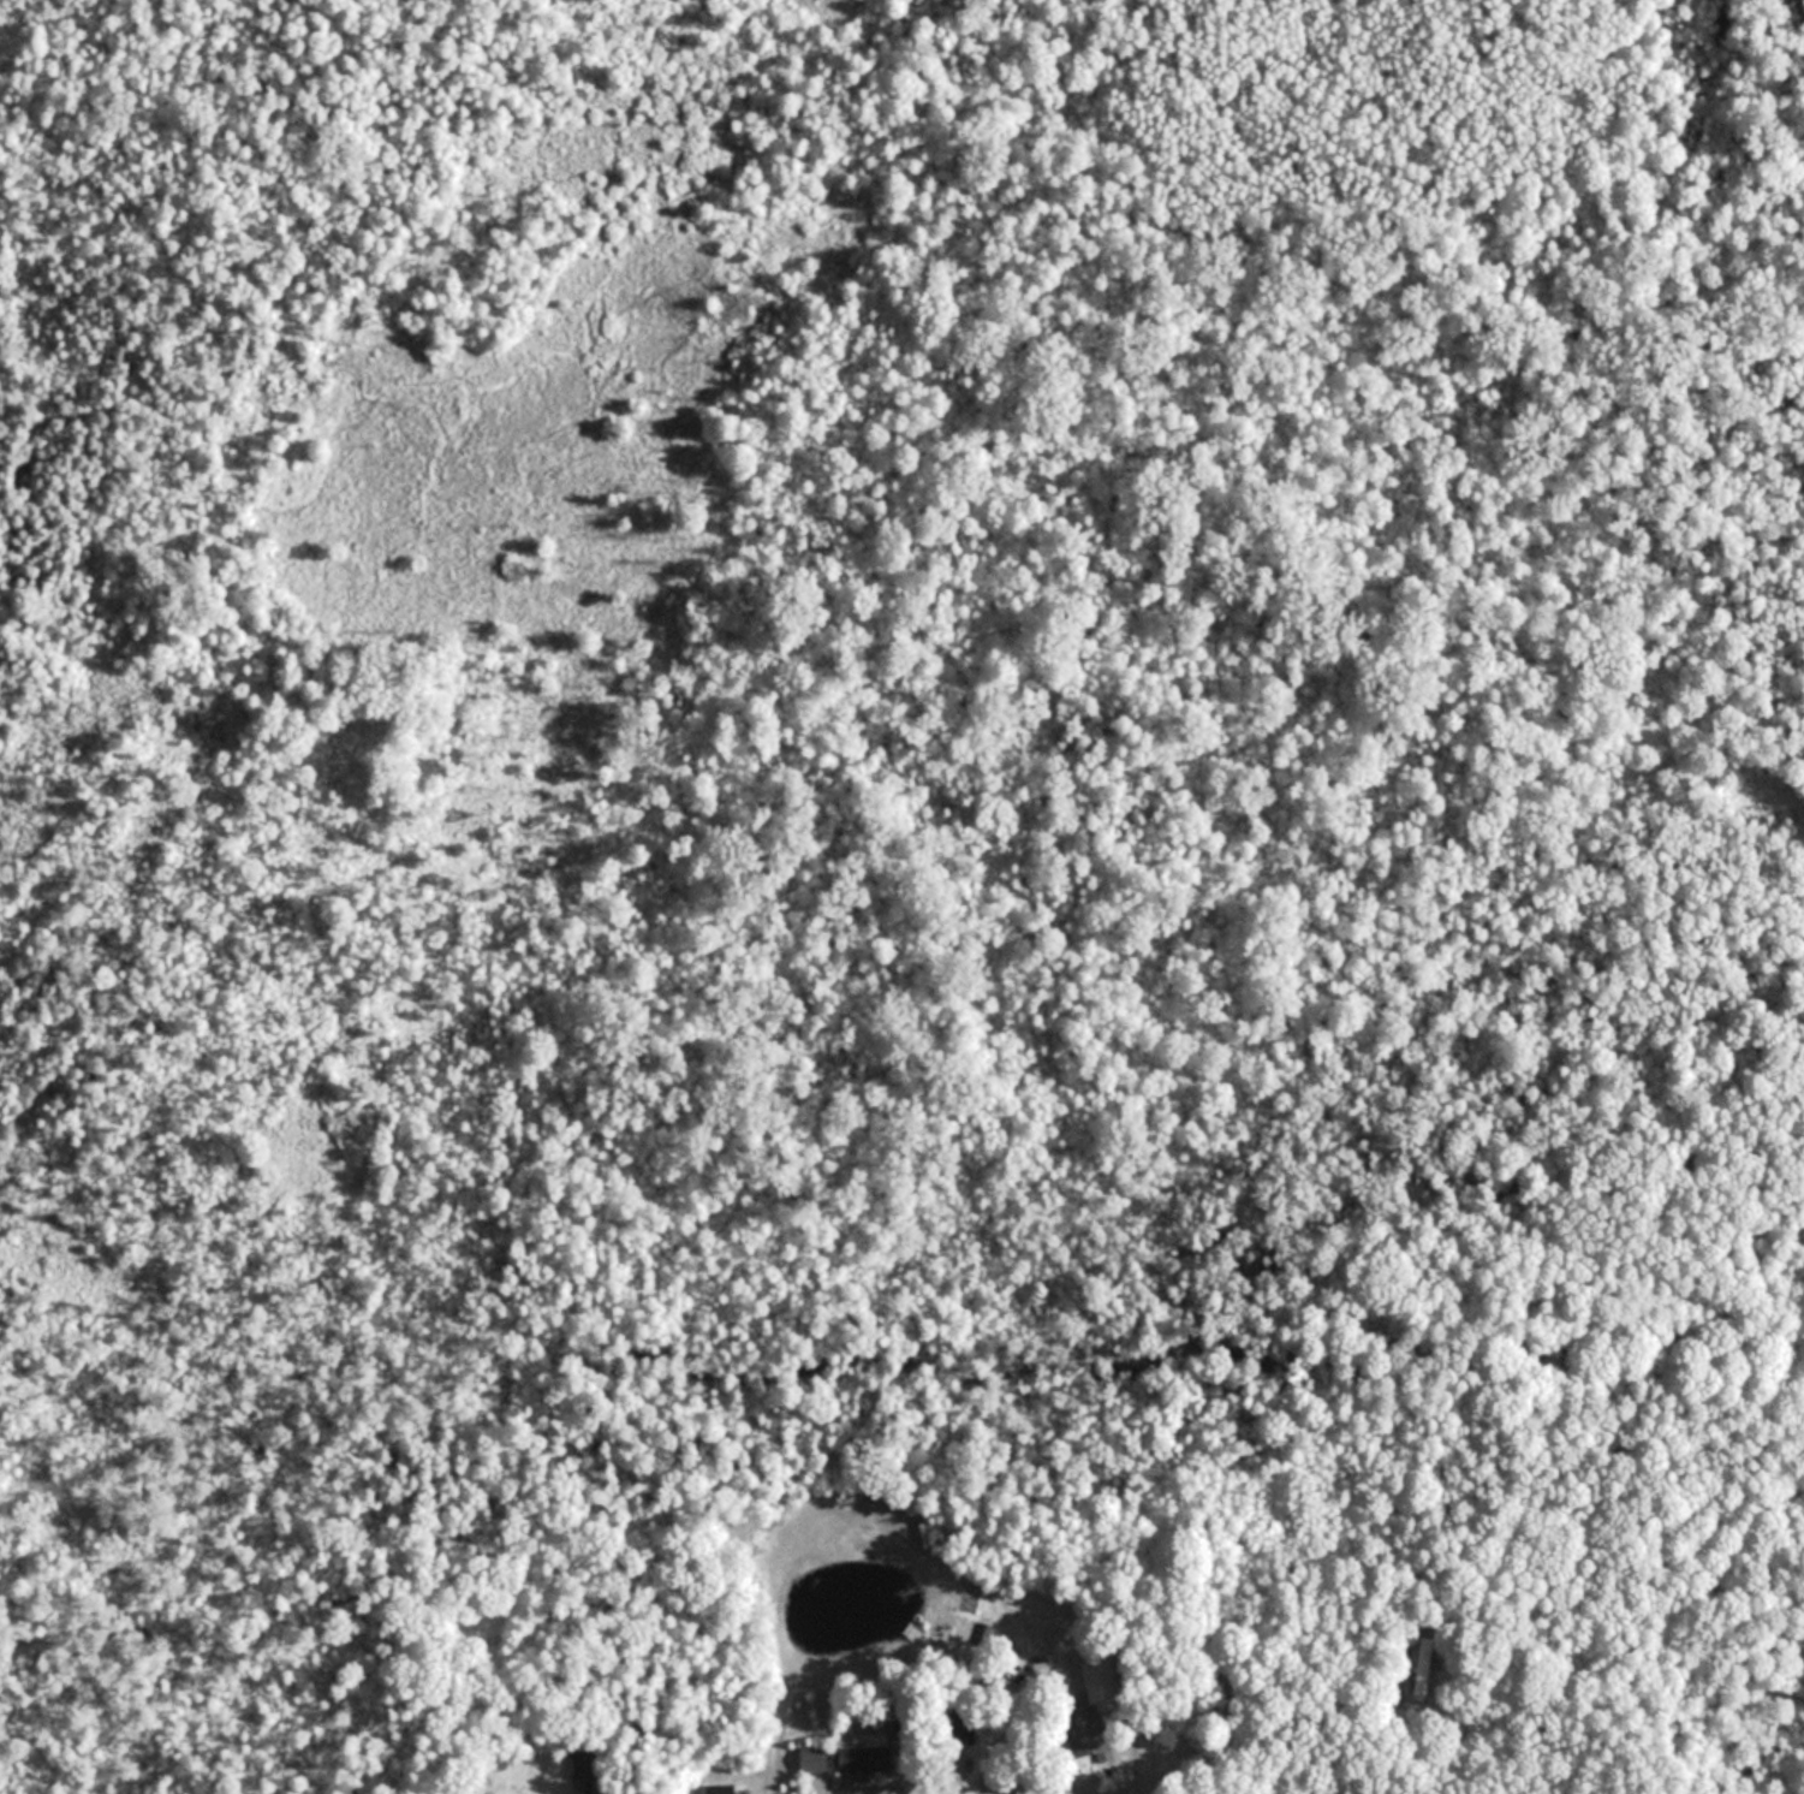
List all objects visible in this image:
park: (897, 672)
building: (1399, 1665)
building: (865, 1758)
building: (815, 1759)
building: (582, 1764)
road: (766, 1778)
road: (913, 1782)
building: (720, 1789)

